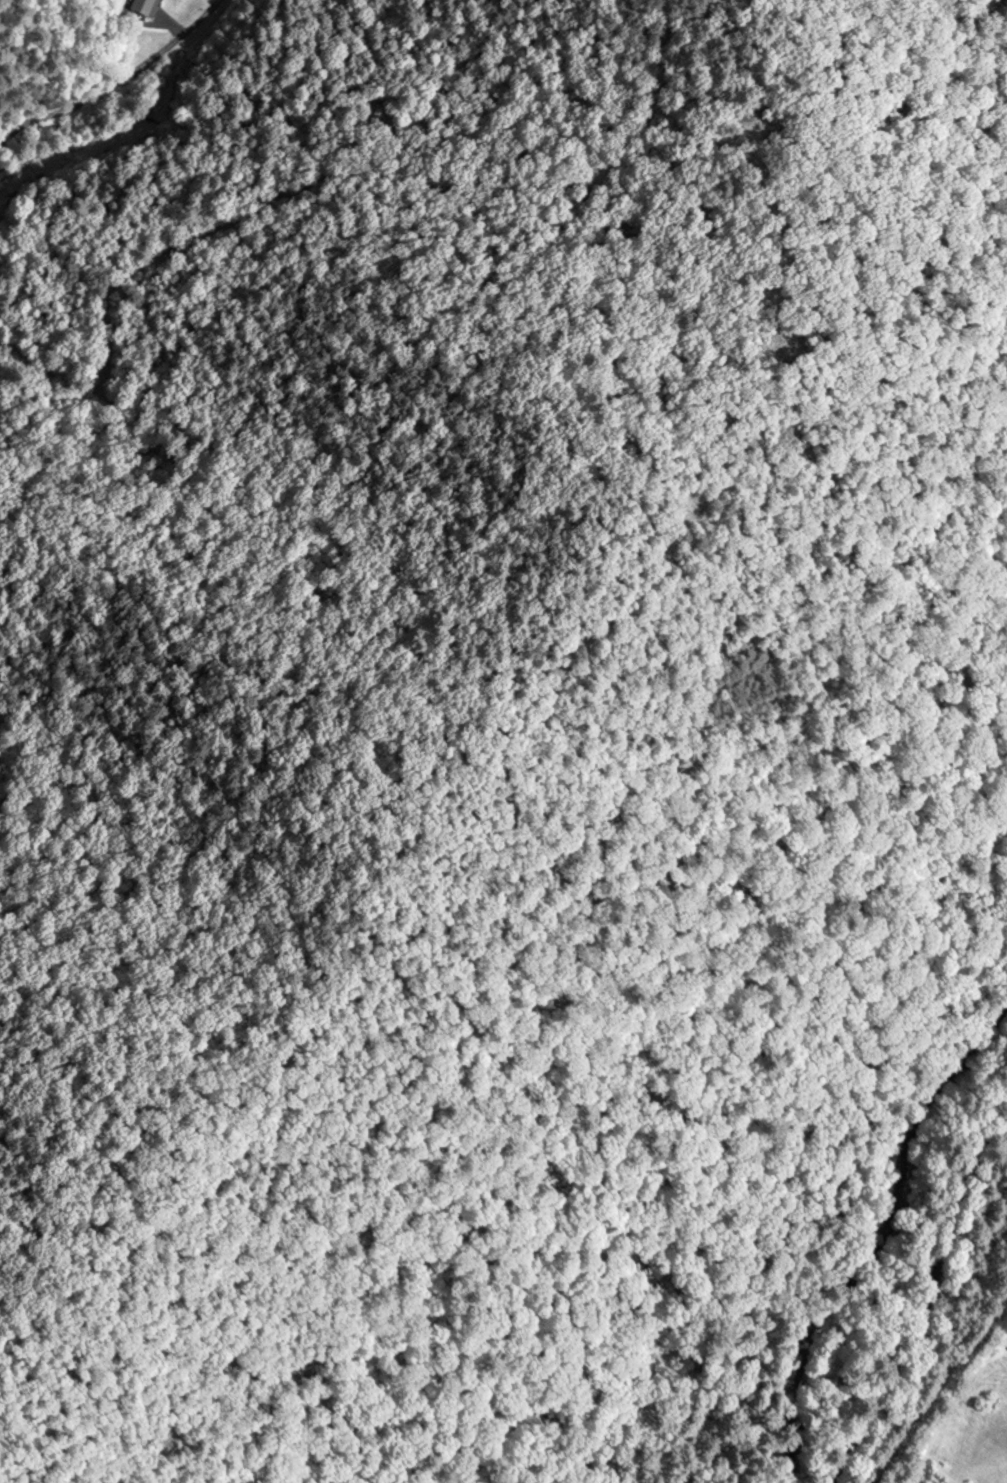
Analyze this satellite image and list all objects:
building: (146, 5)
road: (116, 80)
road: (925, 1295)

